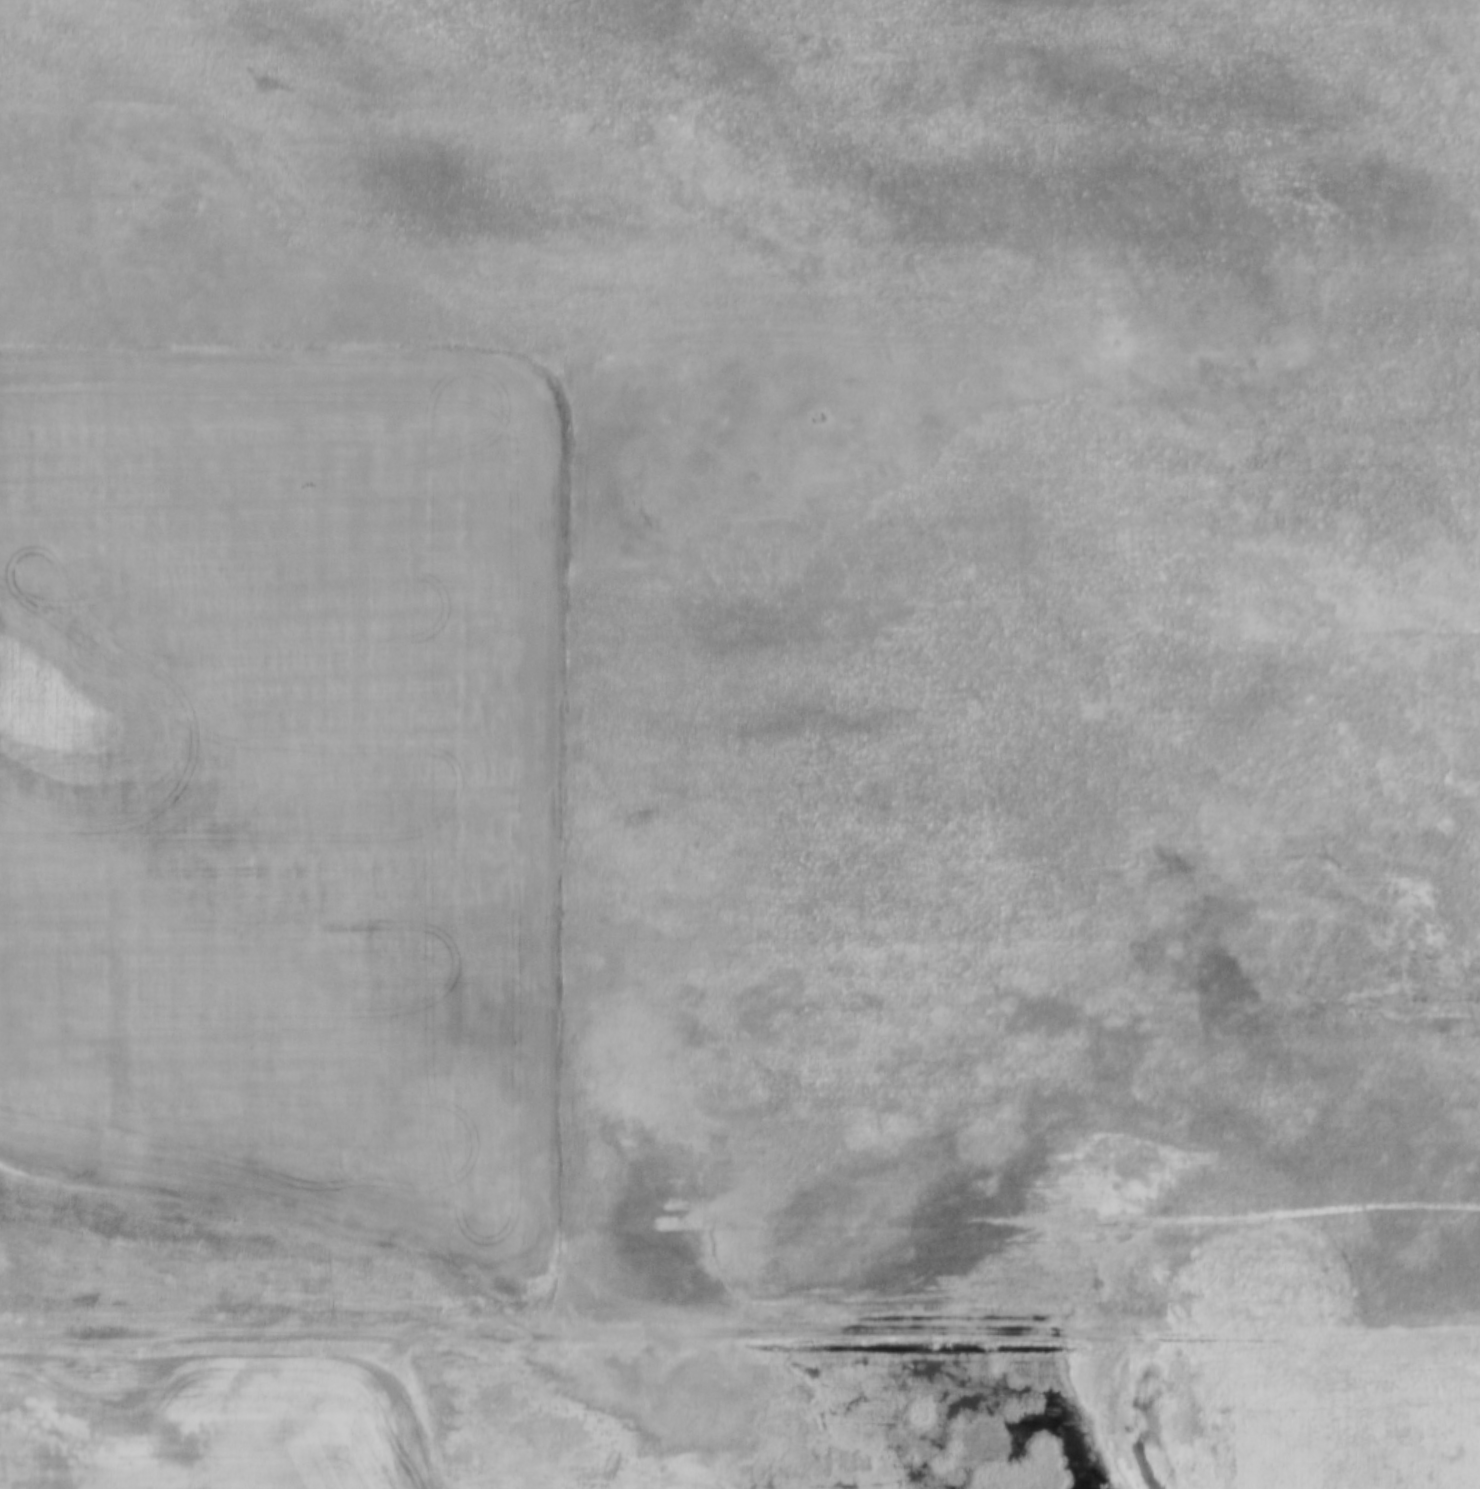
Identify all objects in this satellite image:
road: (739, 1335)

